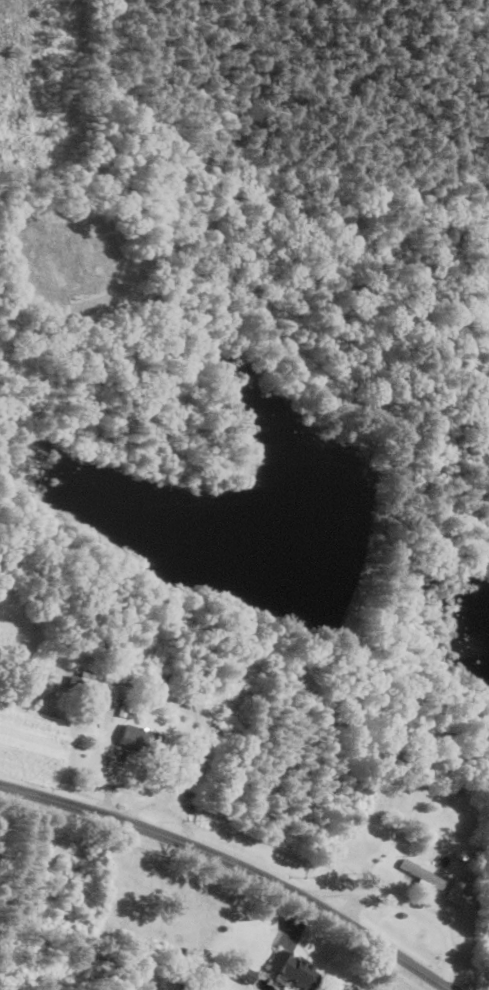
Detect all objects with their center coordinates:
building: (89, 687)
building: (137, 742)
road: (236, 868)
building: (418, 876)
building: (454, 897)
building: (292, 971)

